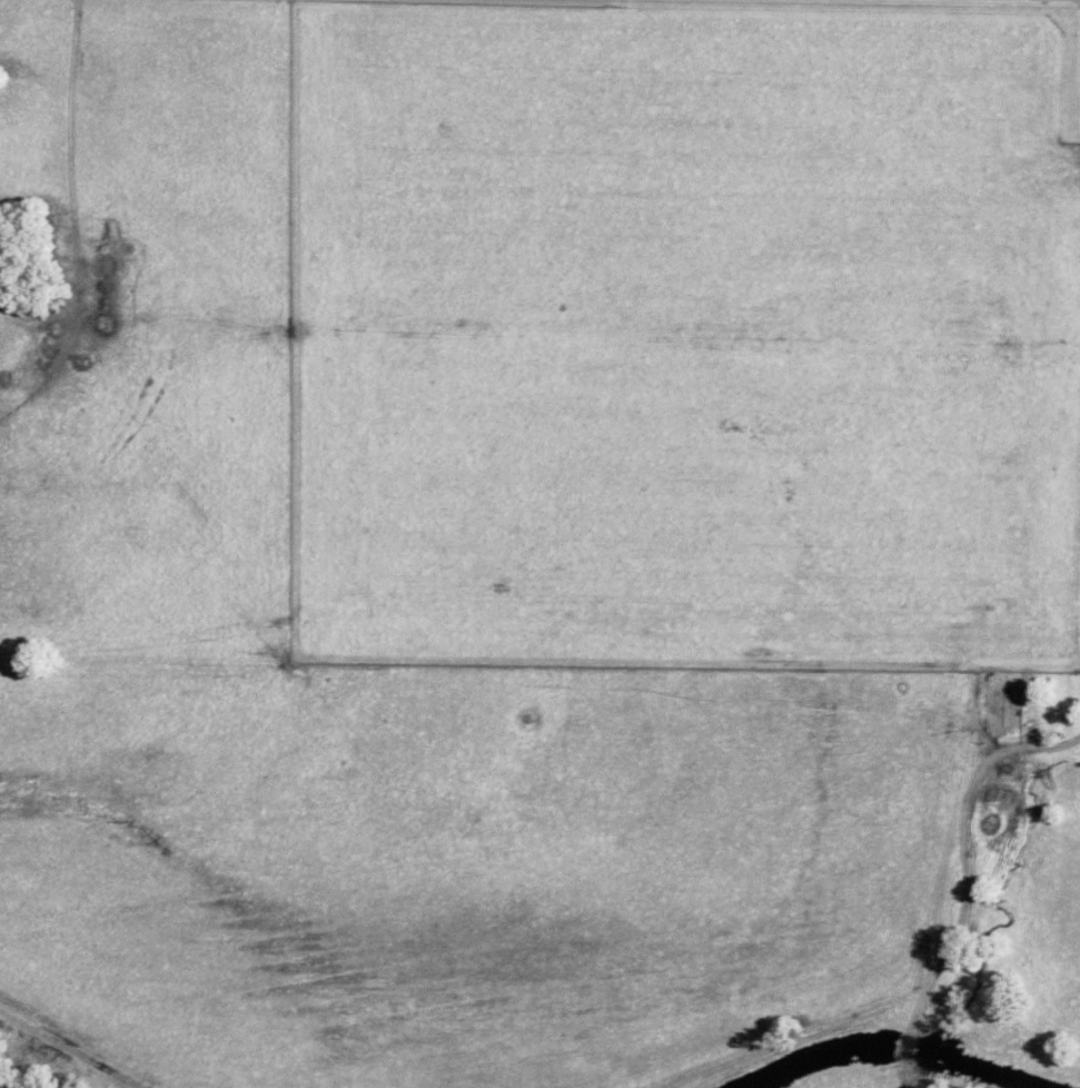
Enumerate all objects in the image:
road: (1079, 0)

